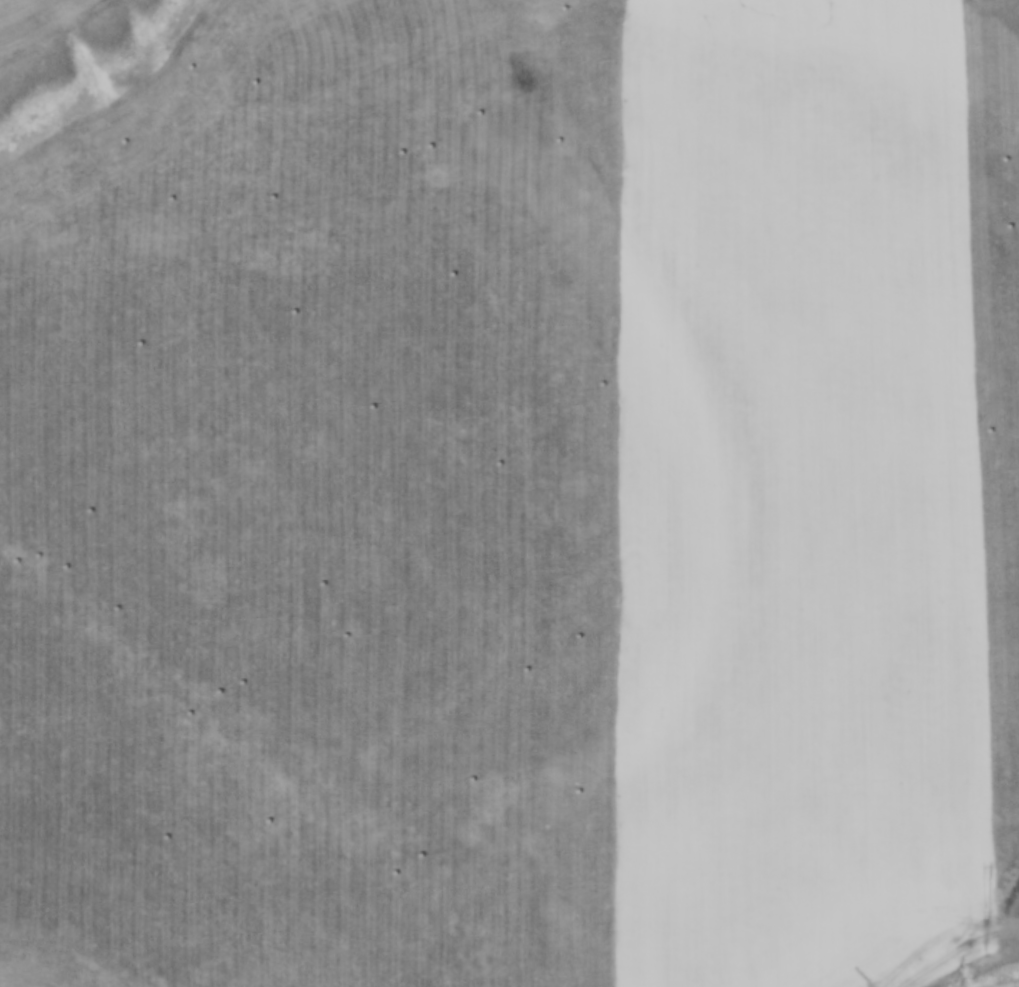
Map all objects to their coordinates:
road: (971, 970)

